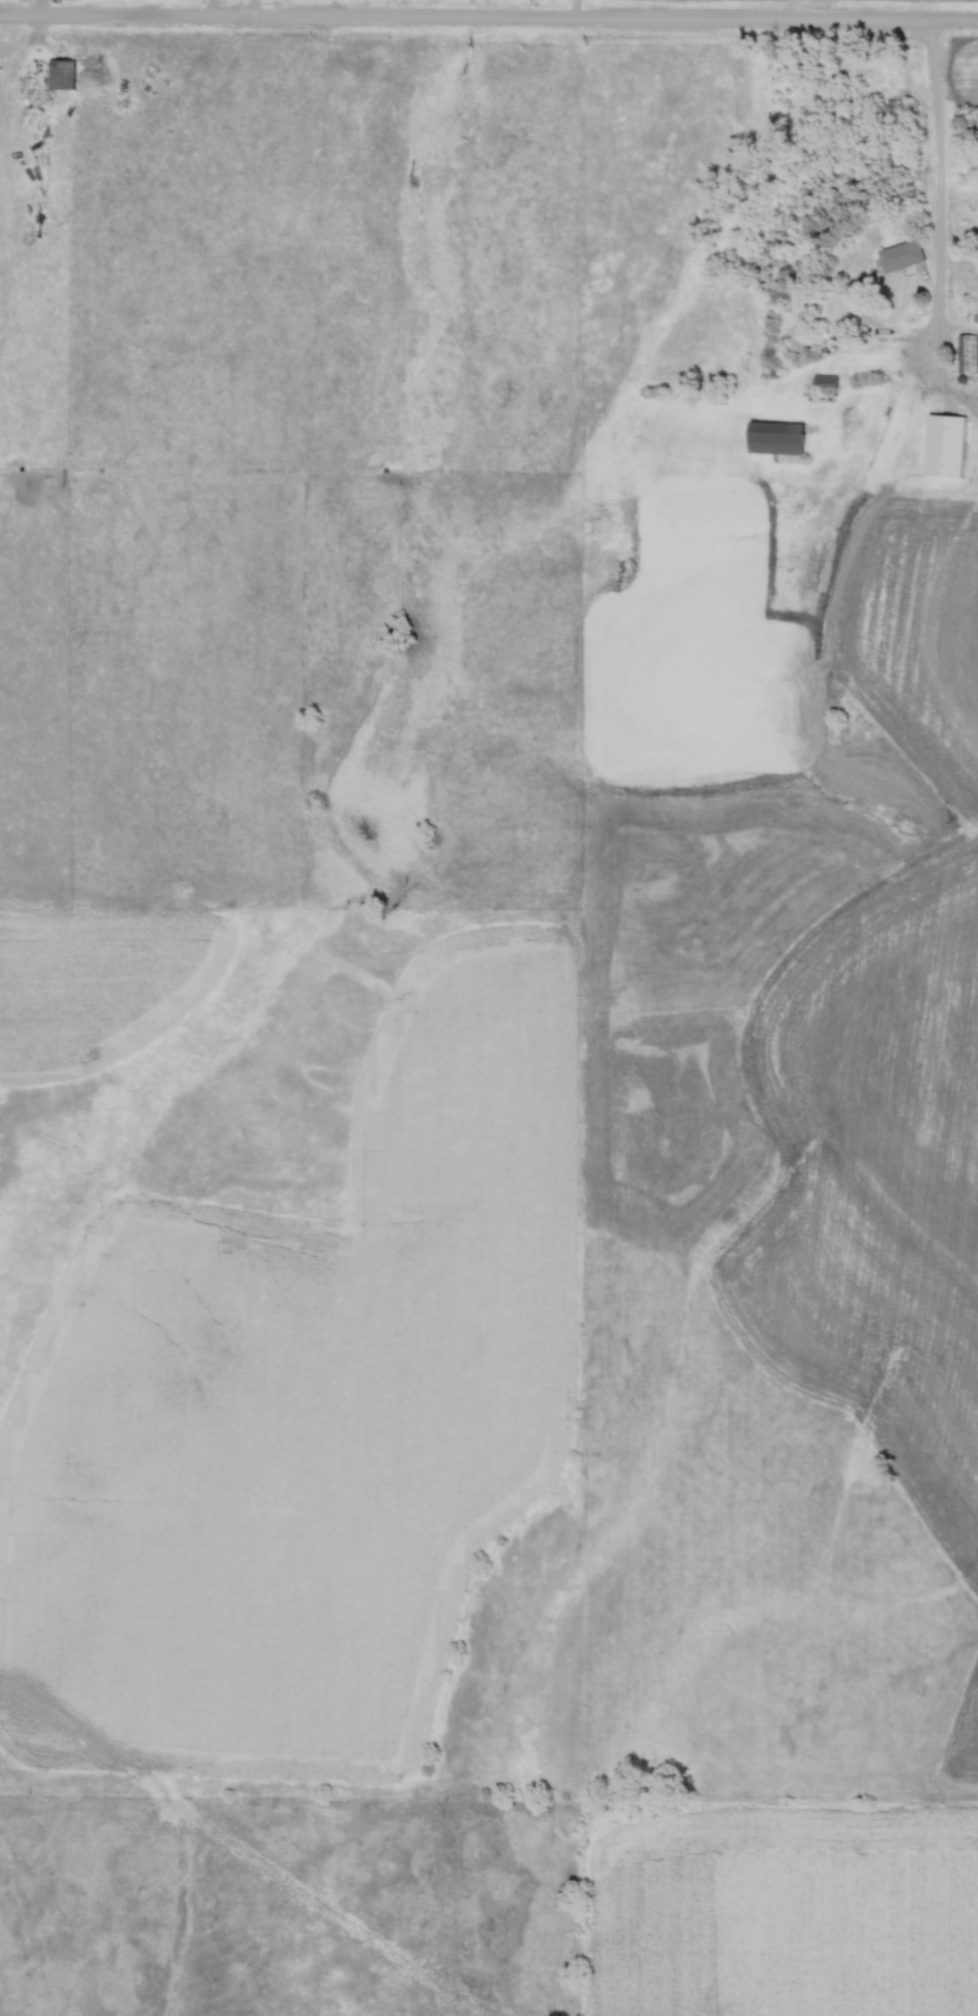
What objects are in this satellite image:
road: (489, 20)
road: (940, 189)
building: (902, 256)
building: (968, 353)
building: (825, 381)
building: (775, 438)
building: (945, 446)

